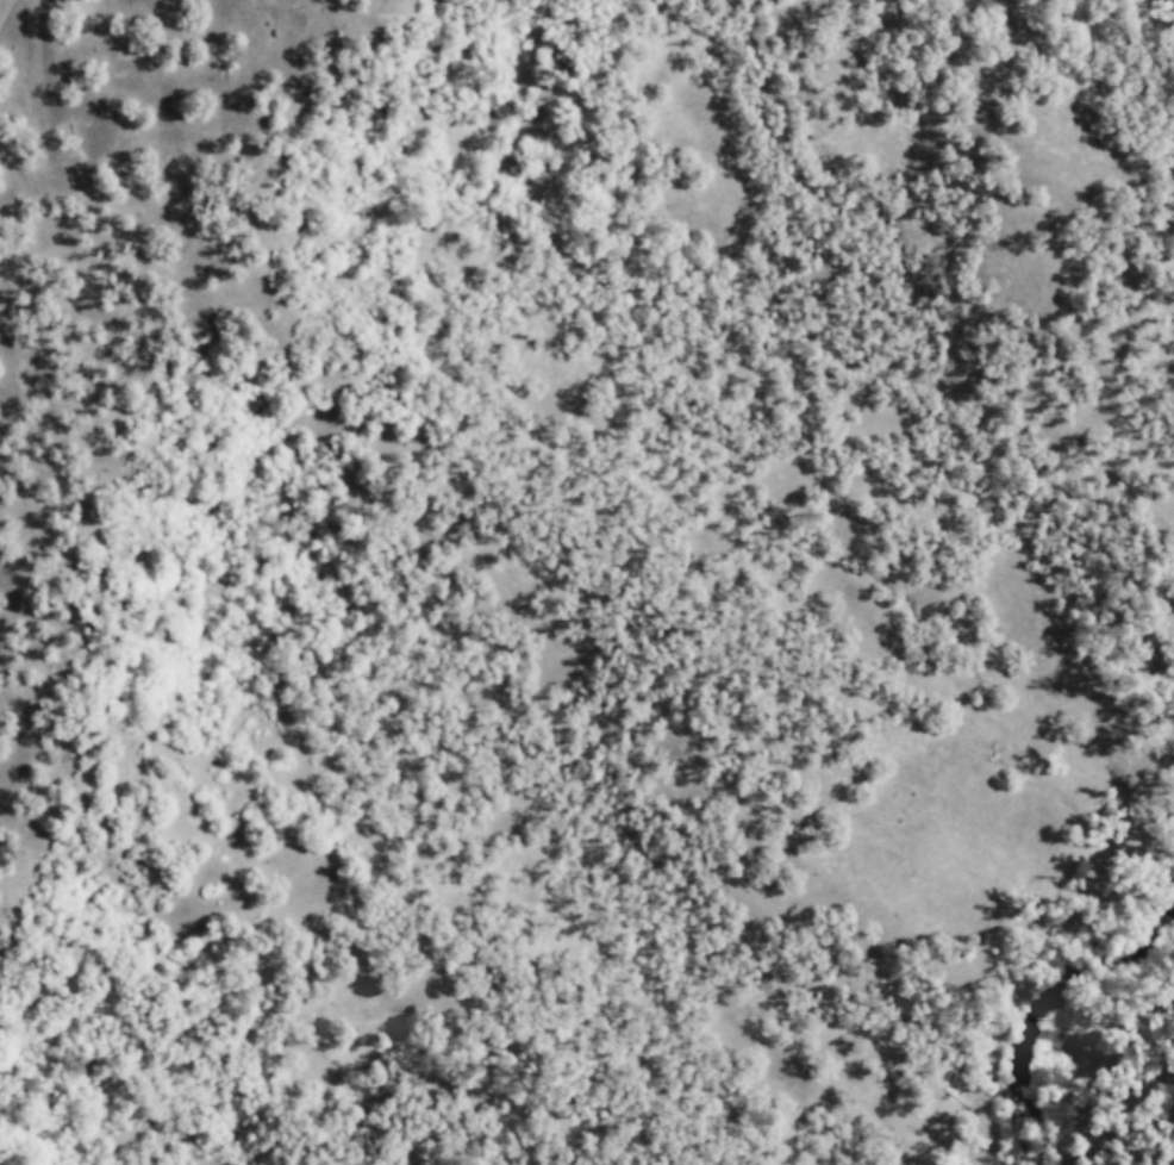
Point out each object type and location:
road: (1, 2)

